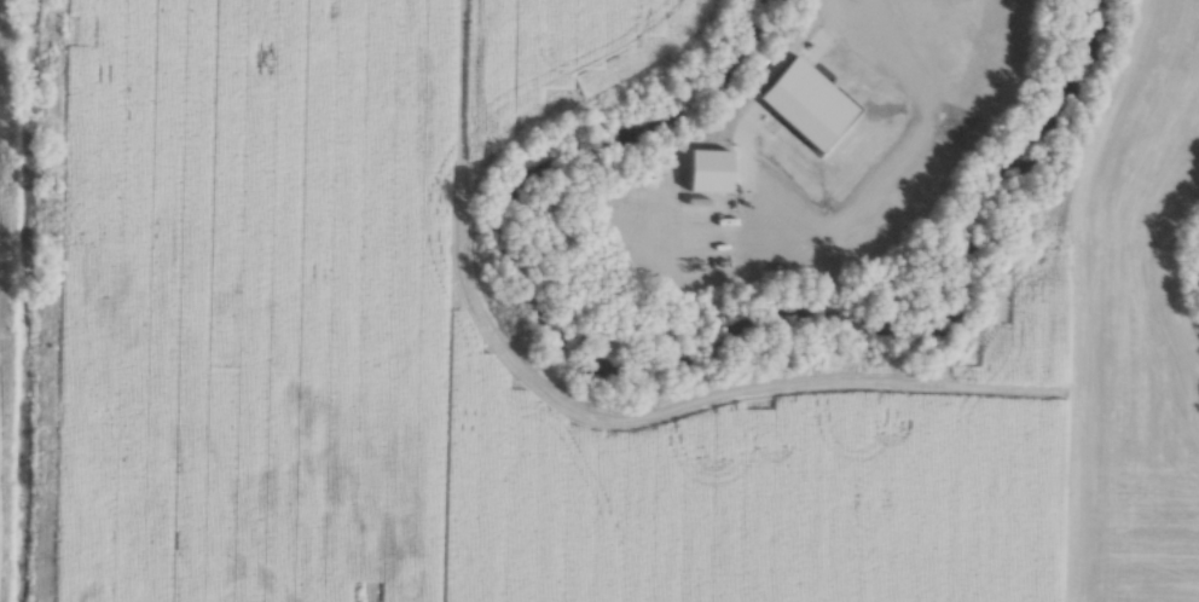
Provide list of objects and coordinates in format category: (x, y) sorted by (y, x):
crop: (433, 370)

